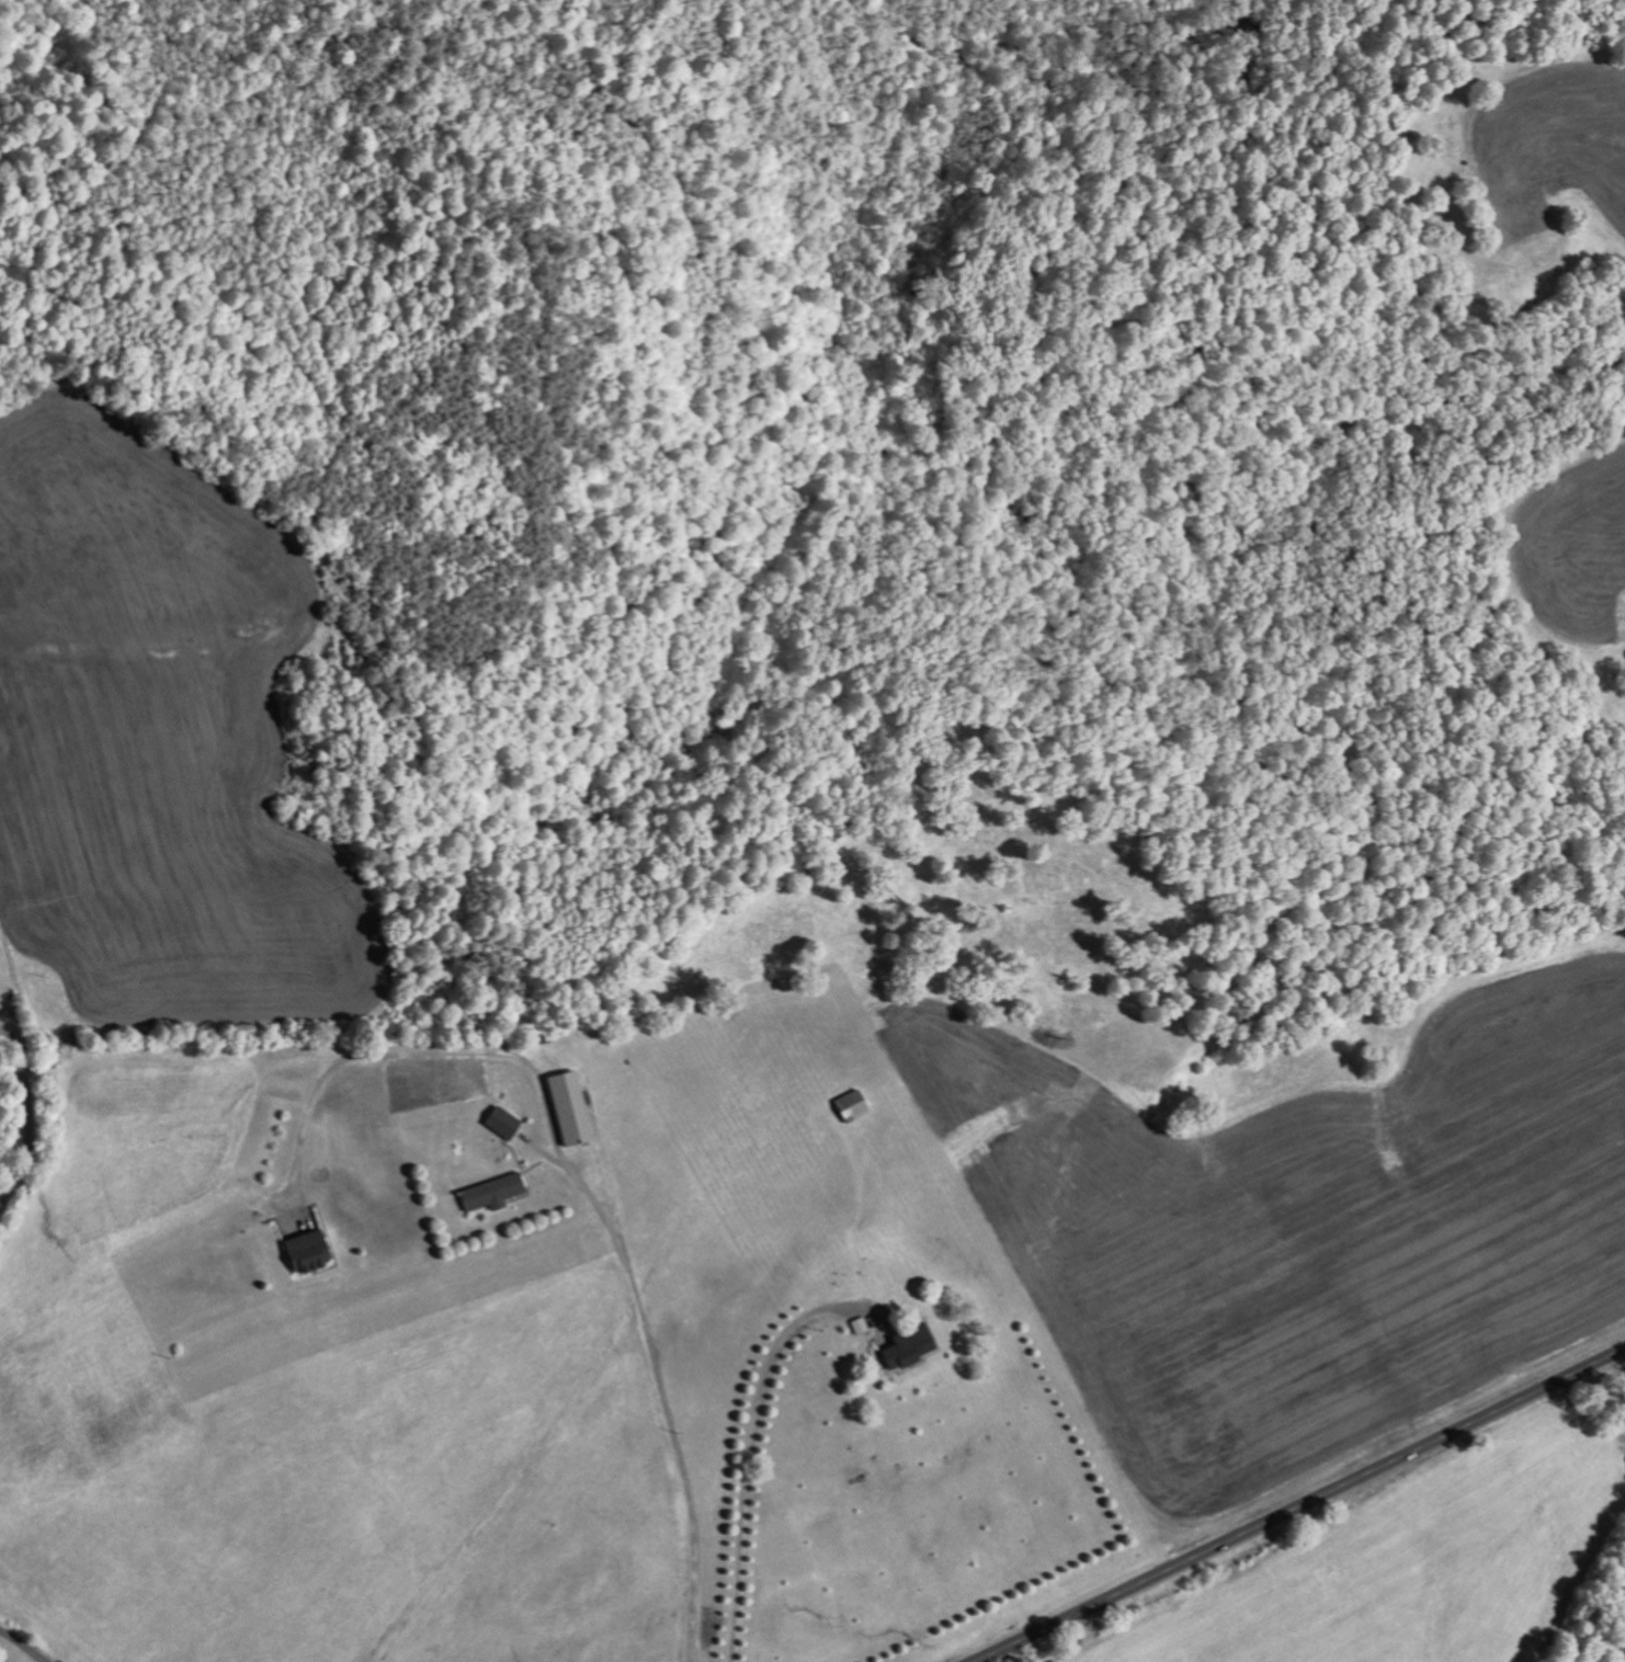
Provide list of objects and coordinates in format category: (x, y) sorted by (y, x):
road: (26, 1101)
building: (853, 1106)
building: (570, 1108)
building: (503, 1123)
building: (492, 1193)
building: (308, 1252)
building: (908, 1345)
road: (1297, 1505)
road: (21, 1647)

